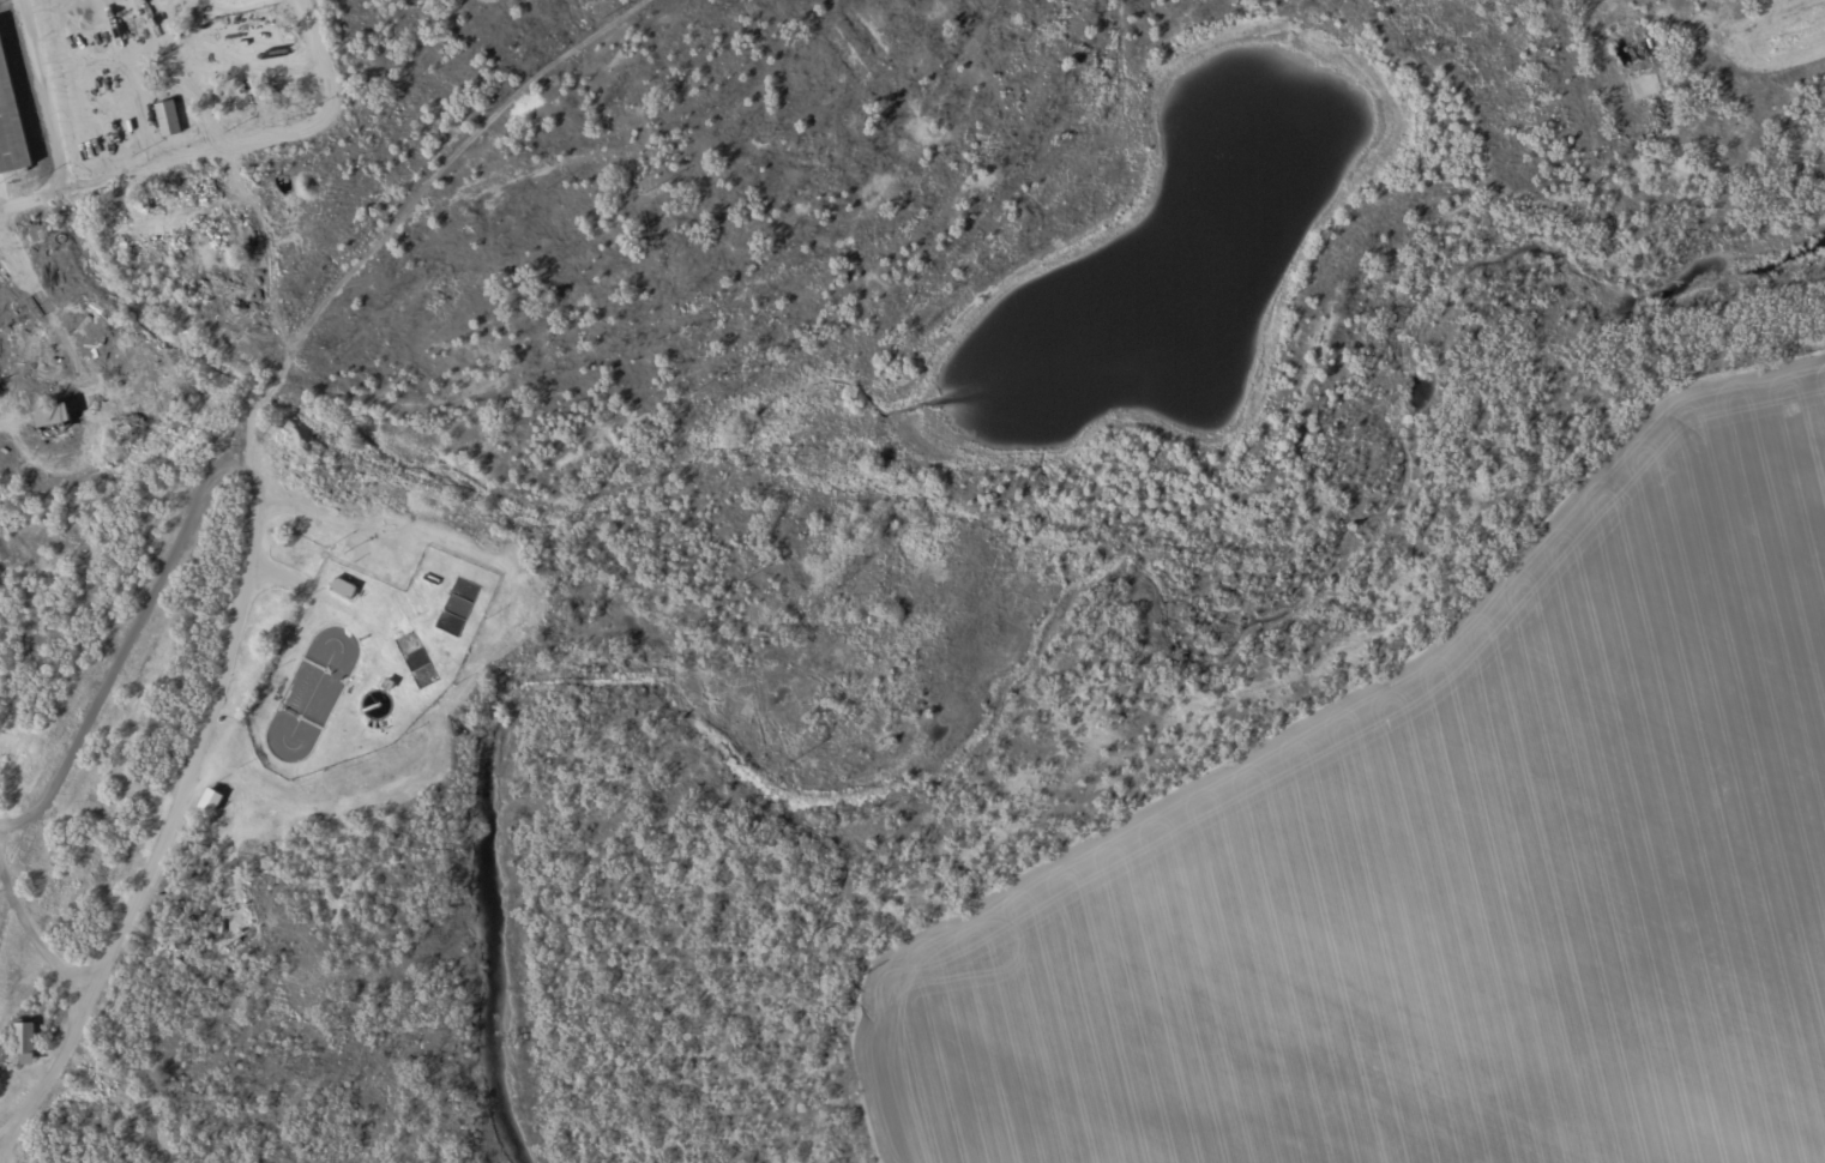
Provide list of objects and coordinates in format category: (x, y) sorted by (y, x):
road: (325, 53)
road: (44, 92)
building: (12, 117)
building: (170, 117)
road: (169, 162)
building: (59, 415)
building: (347, 587)
building: (213, 800)
building: (29, 1041)

